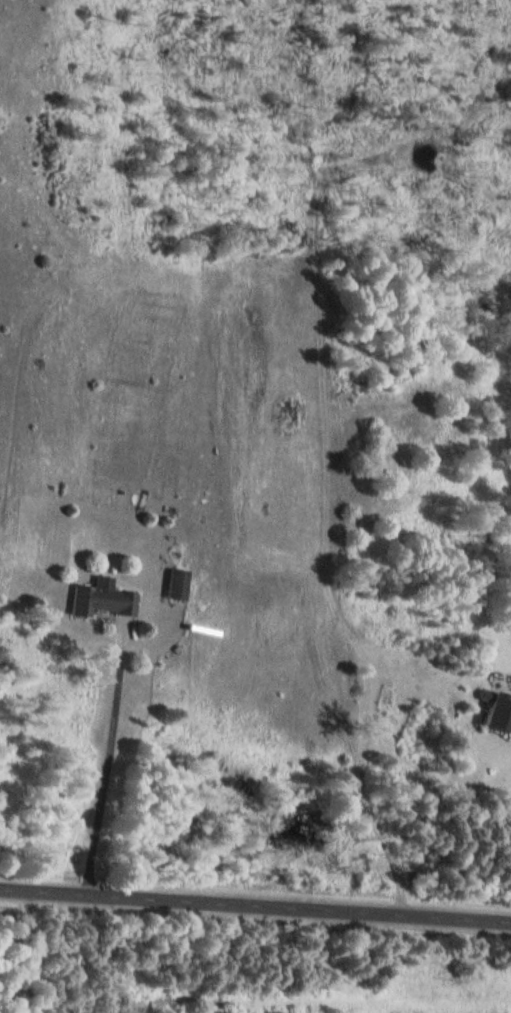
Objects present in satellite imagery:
building: (172, 586)
building: (98, 603)
building: (495, 715)
road: (107, 761)
road: (255, 905)

